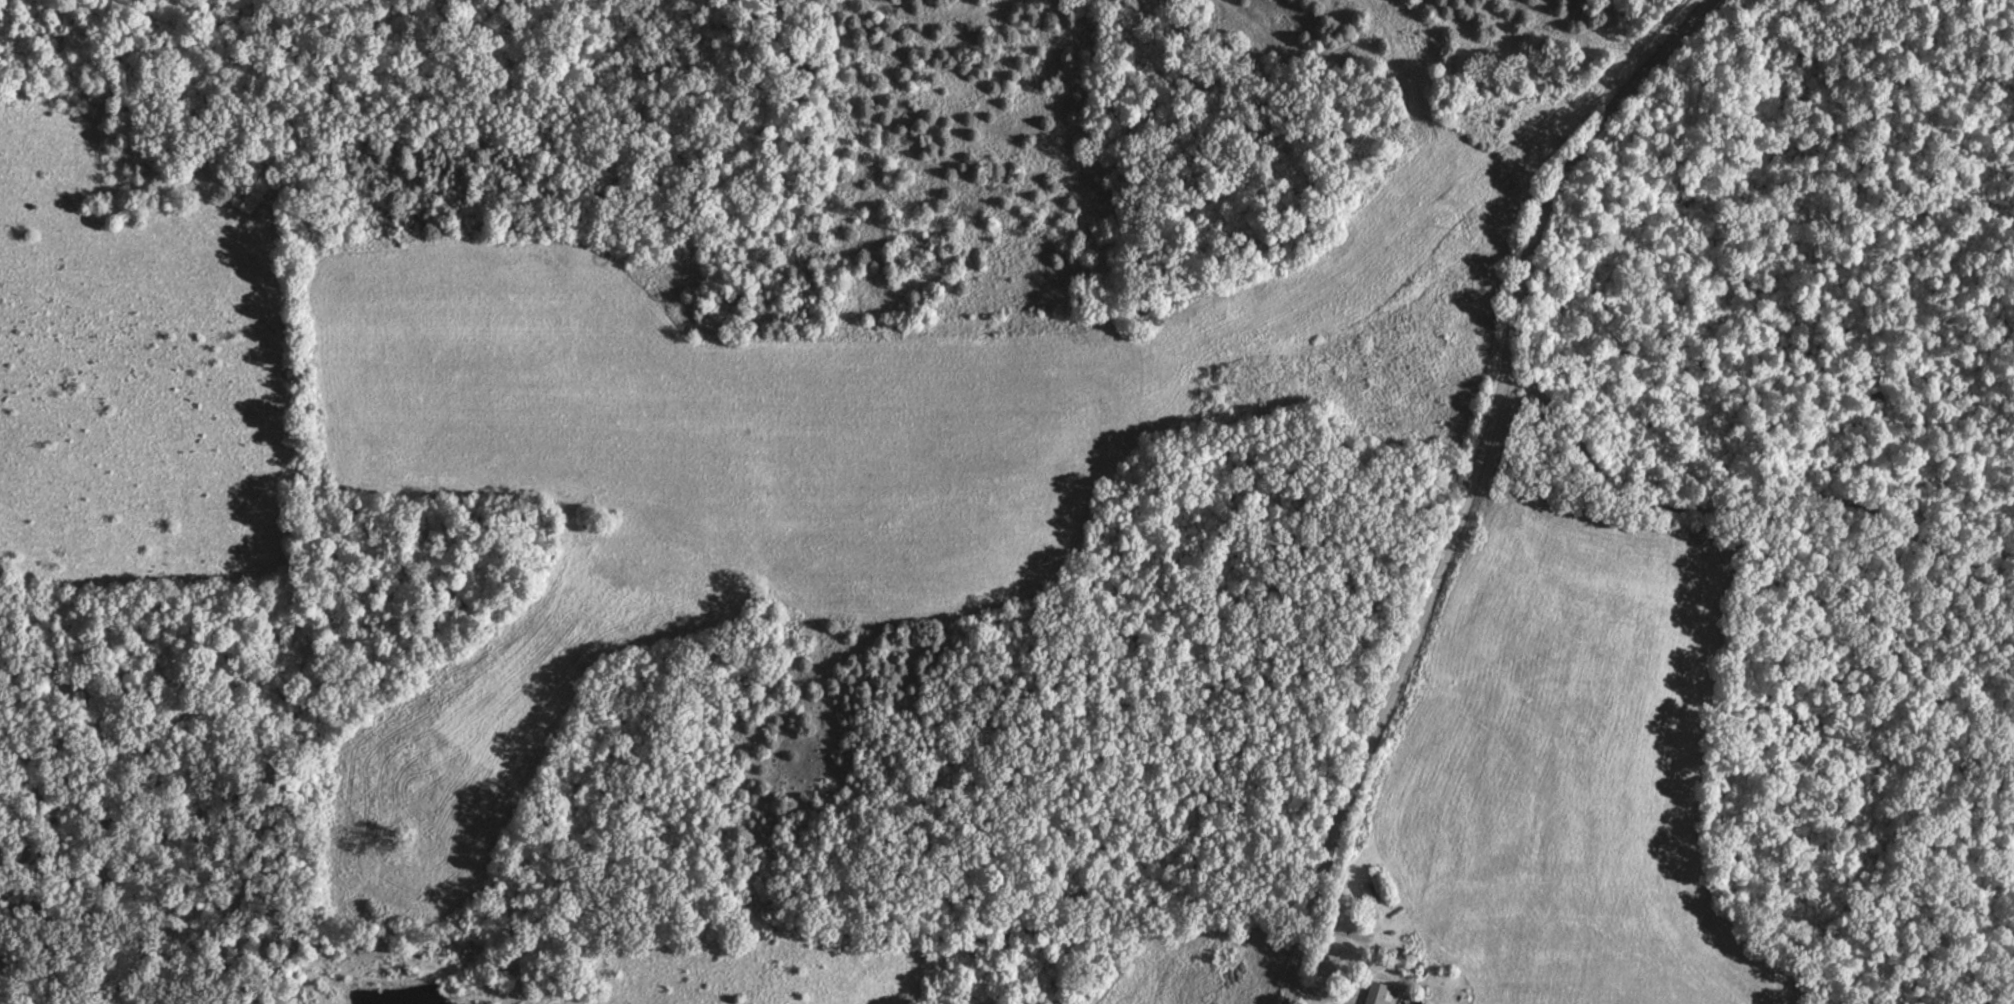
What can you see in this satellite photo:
road: (1472, 484)
road: (1759, 487)
building: (1380, 993)

